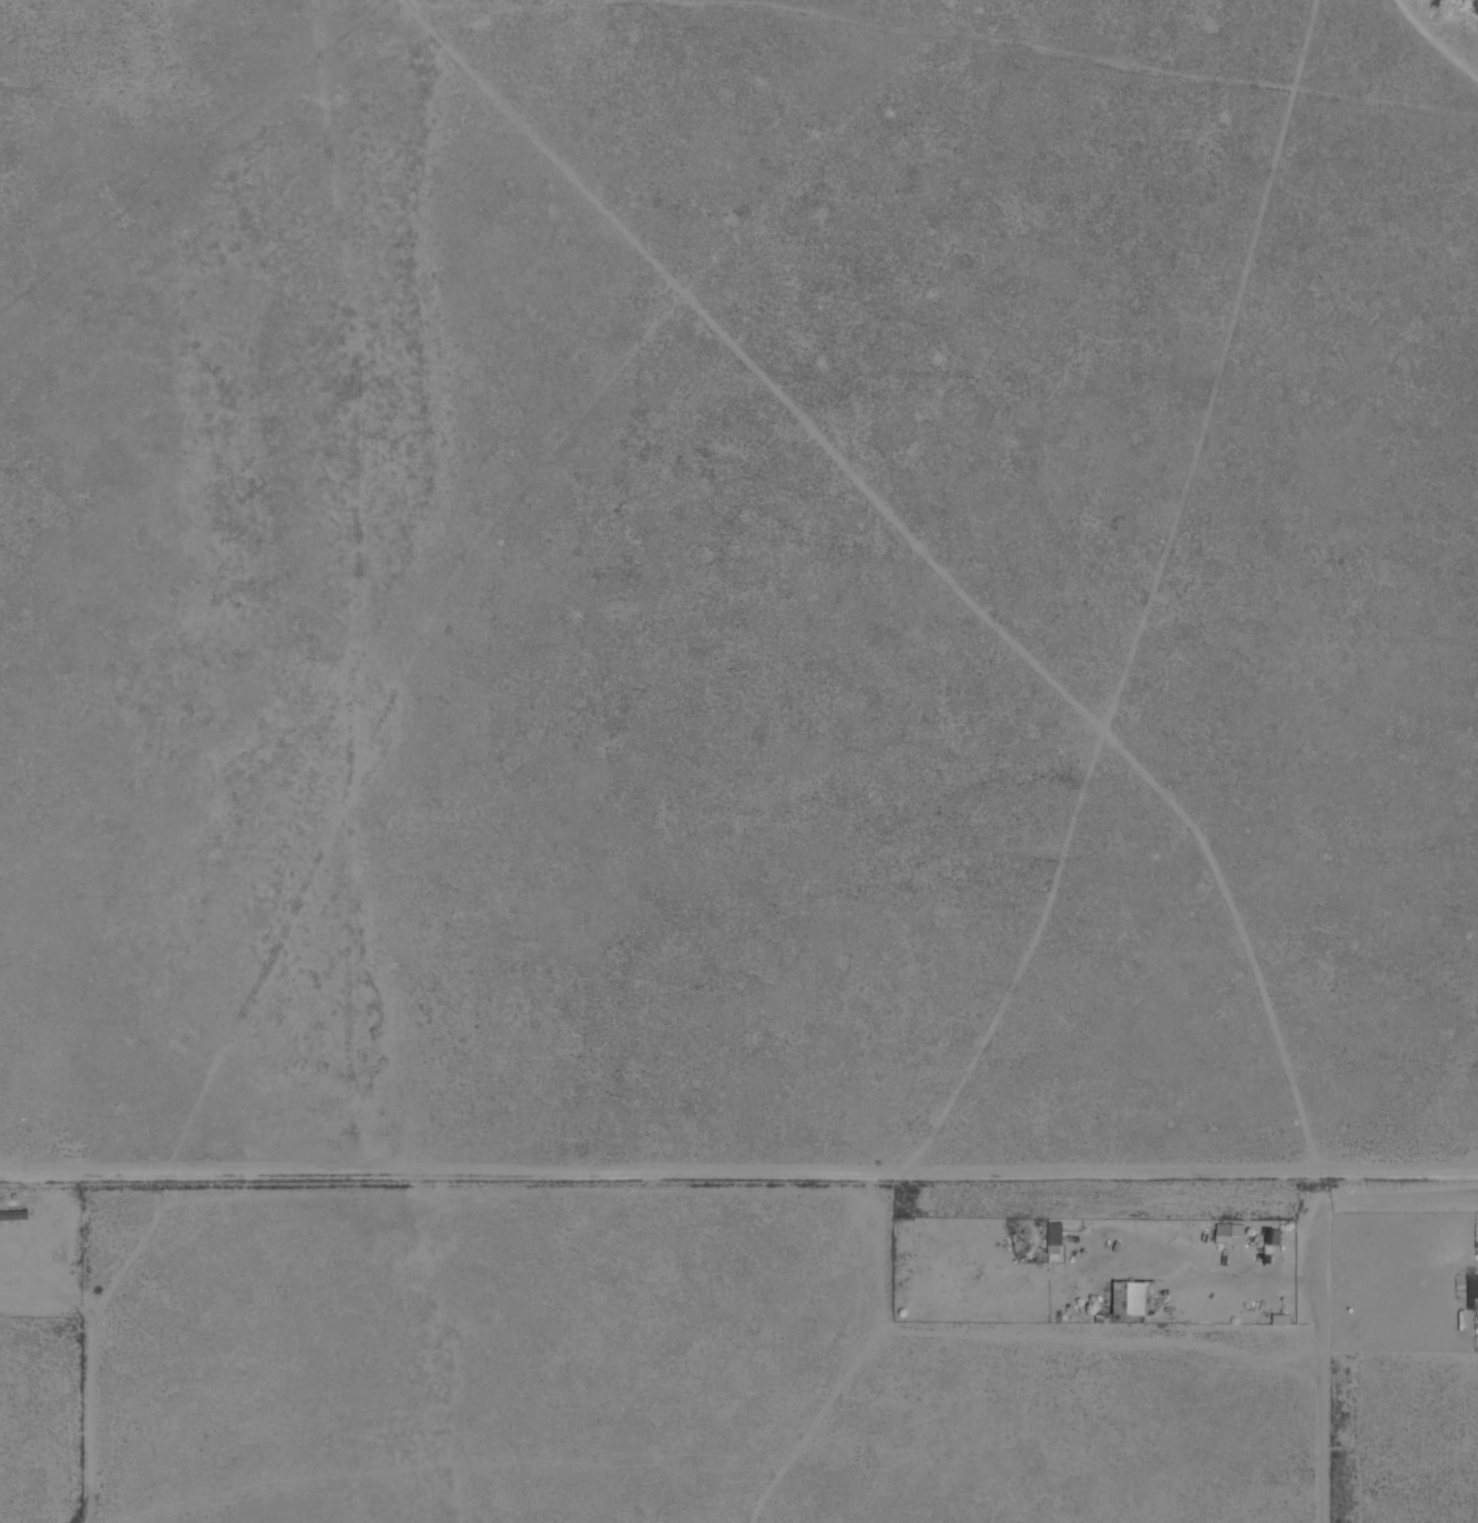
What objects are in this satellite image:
road: (1441, 38)
road: (738, 1174)
building: (14, 1215)
building: (1053, 1239)
building: (1472, 1289)
building: (1127, 1299)
building: (1280, 1320)
road: (1321, 1368)

